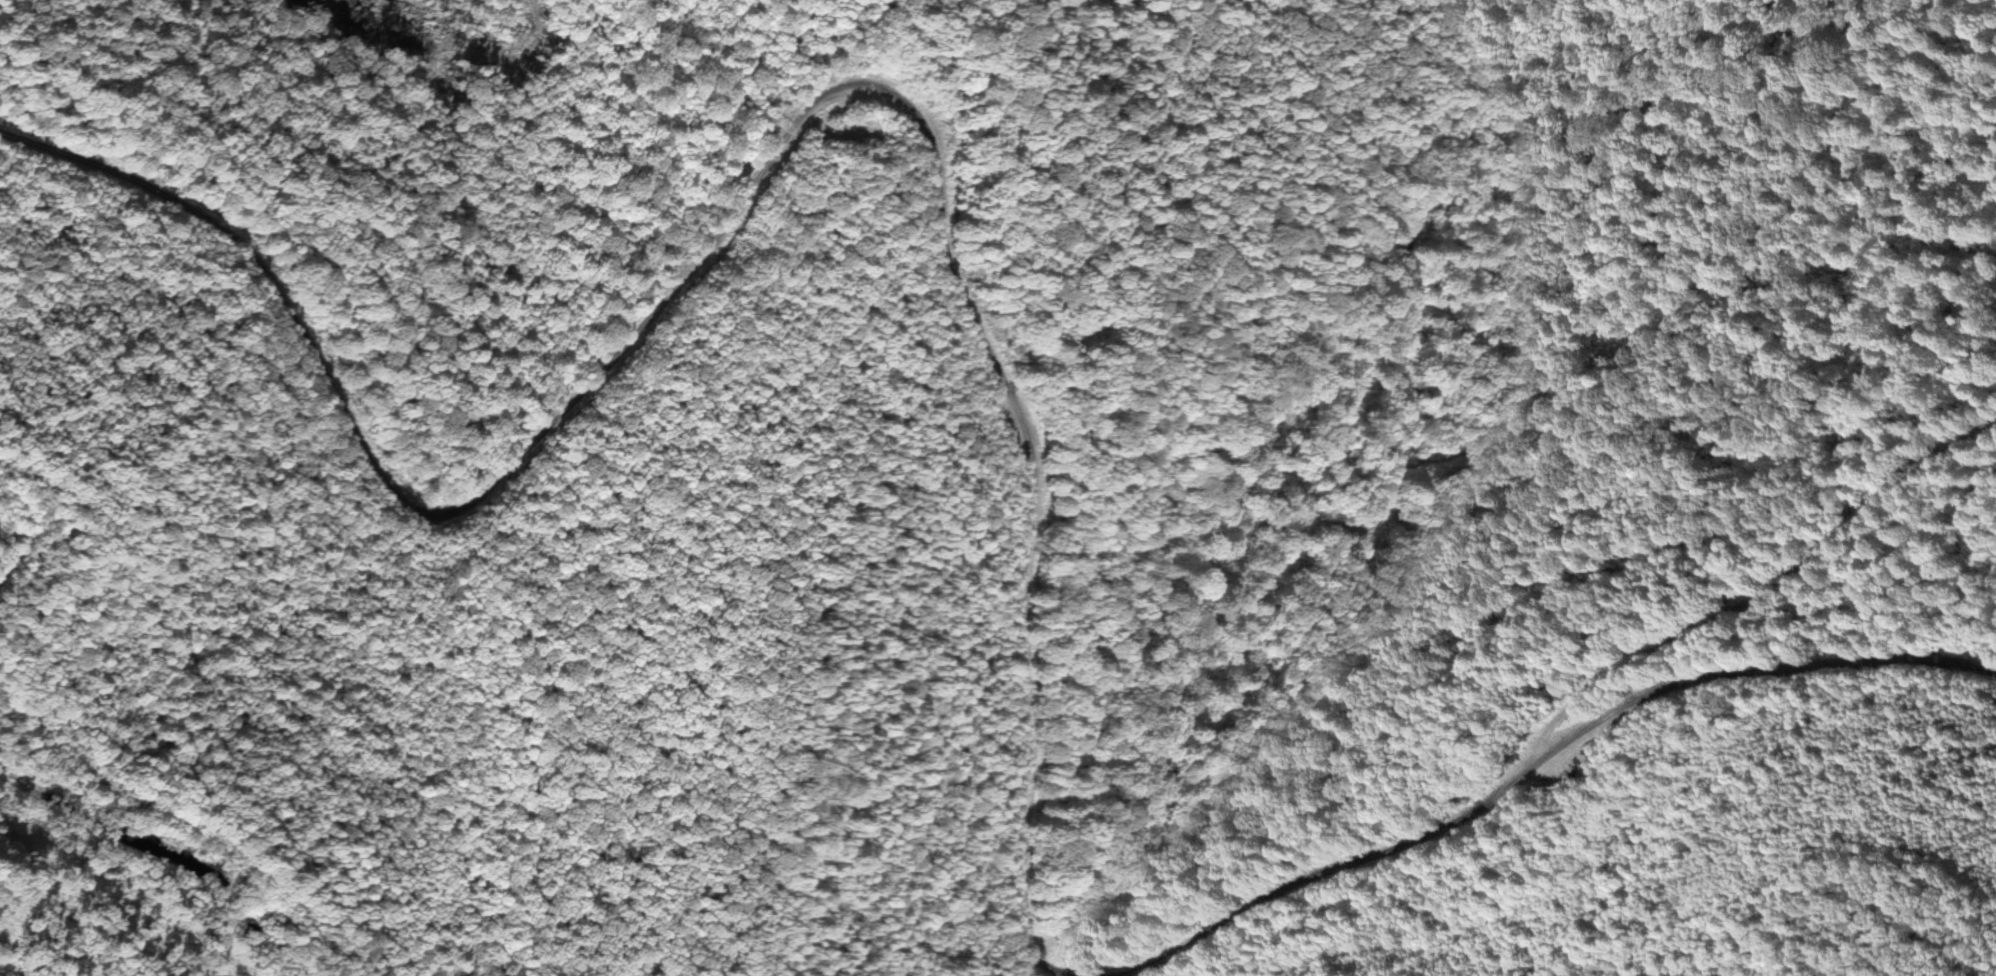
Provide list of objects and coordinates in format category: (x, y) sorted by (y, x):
road: (1090, 297)
road: (1796, 528)
road: (63, 908)

